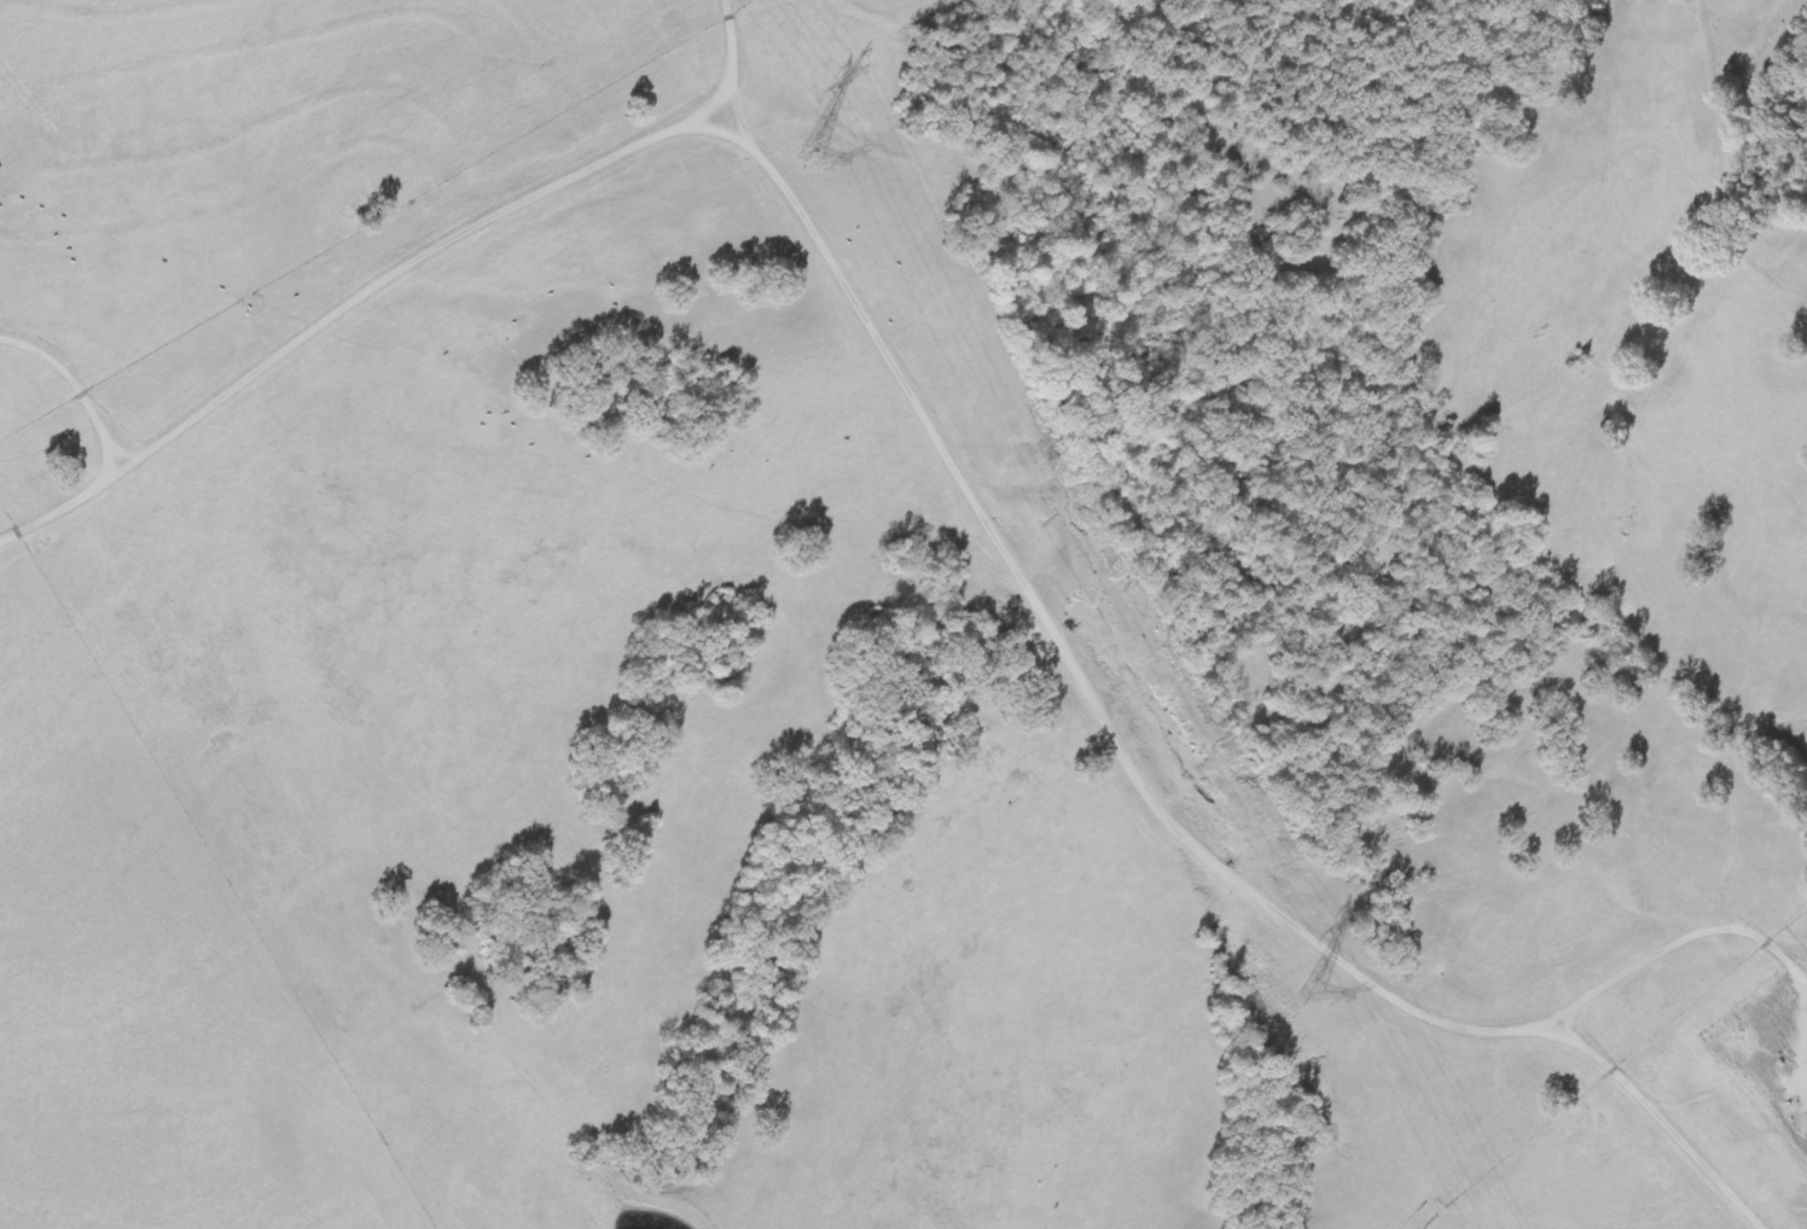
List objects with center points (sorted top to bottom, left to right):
power tower: (807, 151)
power tower: (1308, 994)

